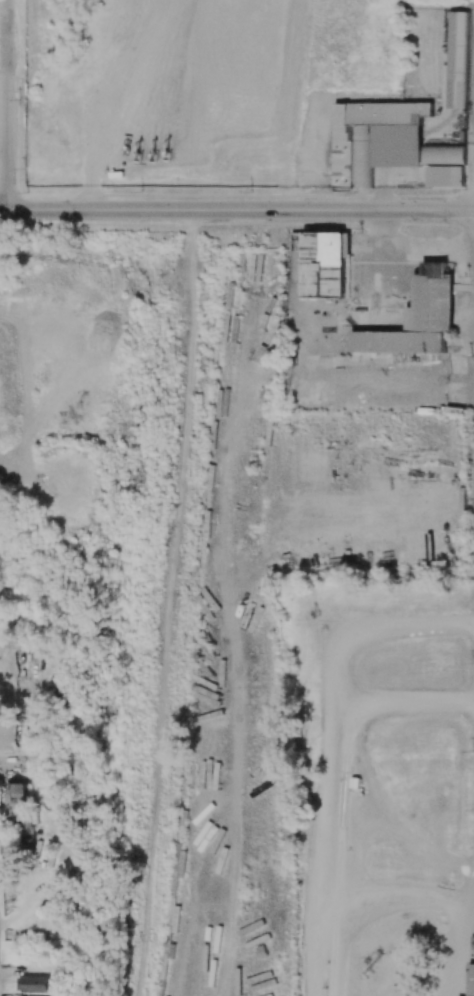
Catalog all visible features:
building: (459, 59)
road: (6, 105)
building: (375, 139)
building: (443, 154)
building: (446, 175)
road: (237, 210)
building: (325, 264)
building: (416, 318)
road: (18, 761)
building: (17, 796)
building: (472, 964)
building: (34, 983)

